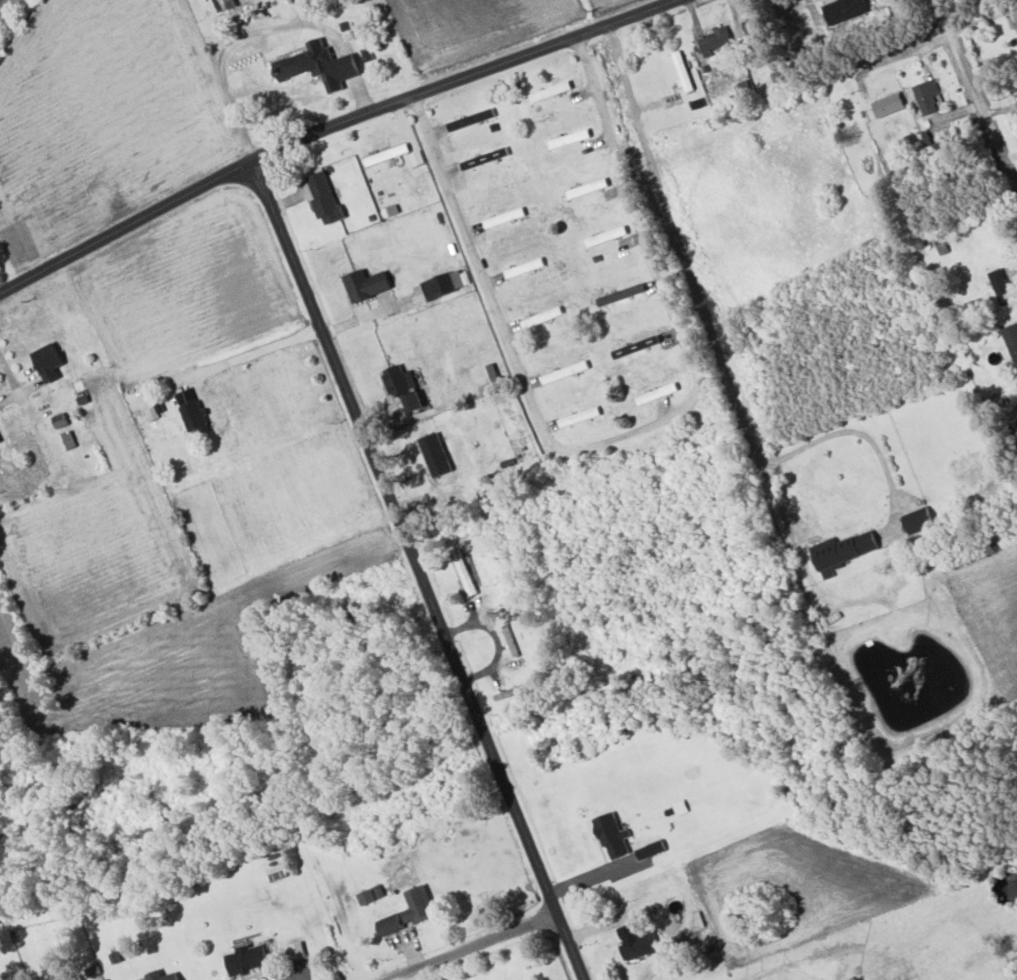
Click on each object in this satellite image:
building: (227, 1)
building: (845, 9)
building: (1015, 17)
building: (753, 25)
road: (235, 37)
building: (716, 39)
road: (903, 53)
road: (351, 55)
building: (320, 64)
building: (683, 71)
road: (364, 89)
building: (551, 90)
building: (927, 95)
road: (975, 99)
building: (889, 104)
building: (469, 120)
road: (331, 128)
building: (569, 137)
building: (387, 154)
building: (478, 160)
building: (587, 187)
building: (325, 197)
building: (606, 235)
building: (525, 267)
road: (695, 274)
building: (366, 284)
building: (438, 285)
building: (1001, 285)
building: (543, 316)
building: (1011, 339)
road: (254, 341)
building: (48, 361)
building: (551, 377)
building: (403, 386)
building: (657, 393)
road: (29, 413)
building: (580, 416)
building: (194, 417)
road: (629, 433)
building: (68, 439)
building: (0, 441)
building: (436, 454)
building: (920, 519)
building: (843, 549)
road: (417, 572)
road: (496, 638)
building: (681, 807)
building: (613, 836)
building: (652, 849)
building: (277, 872)
road: (587, 877)
building: (365, 897)
building: (419, 904)
building: (391, 924)
building: (637, 942)
road: (473, 947)
building: (298, 950)
building: (248, 960)
building: (161, 976)
road: (752, 978)
building: (106, 979)

